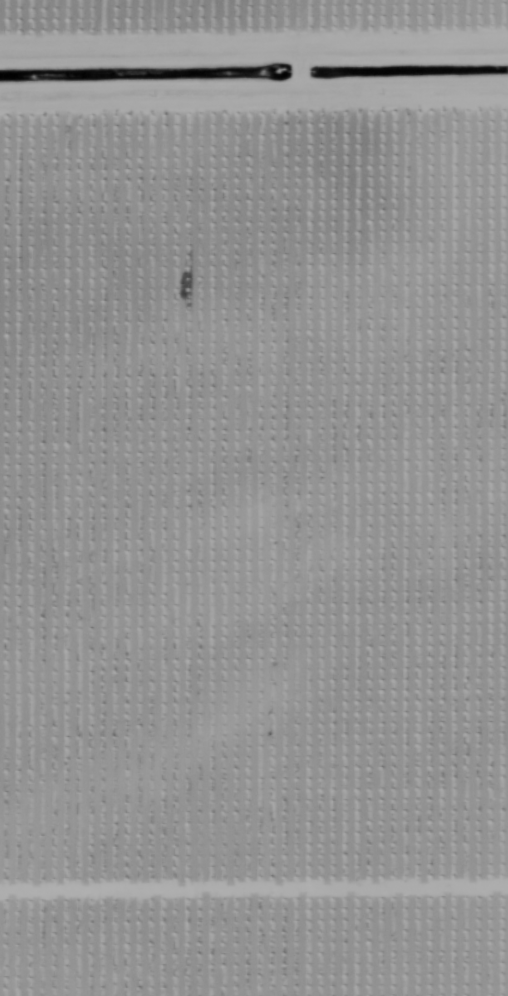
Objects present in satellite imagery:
road: (254, 120)
crop: (254, 498)

